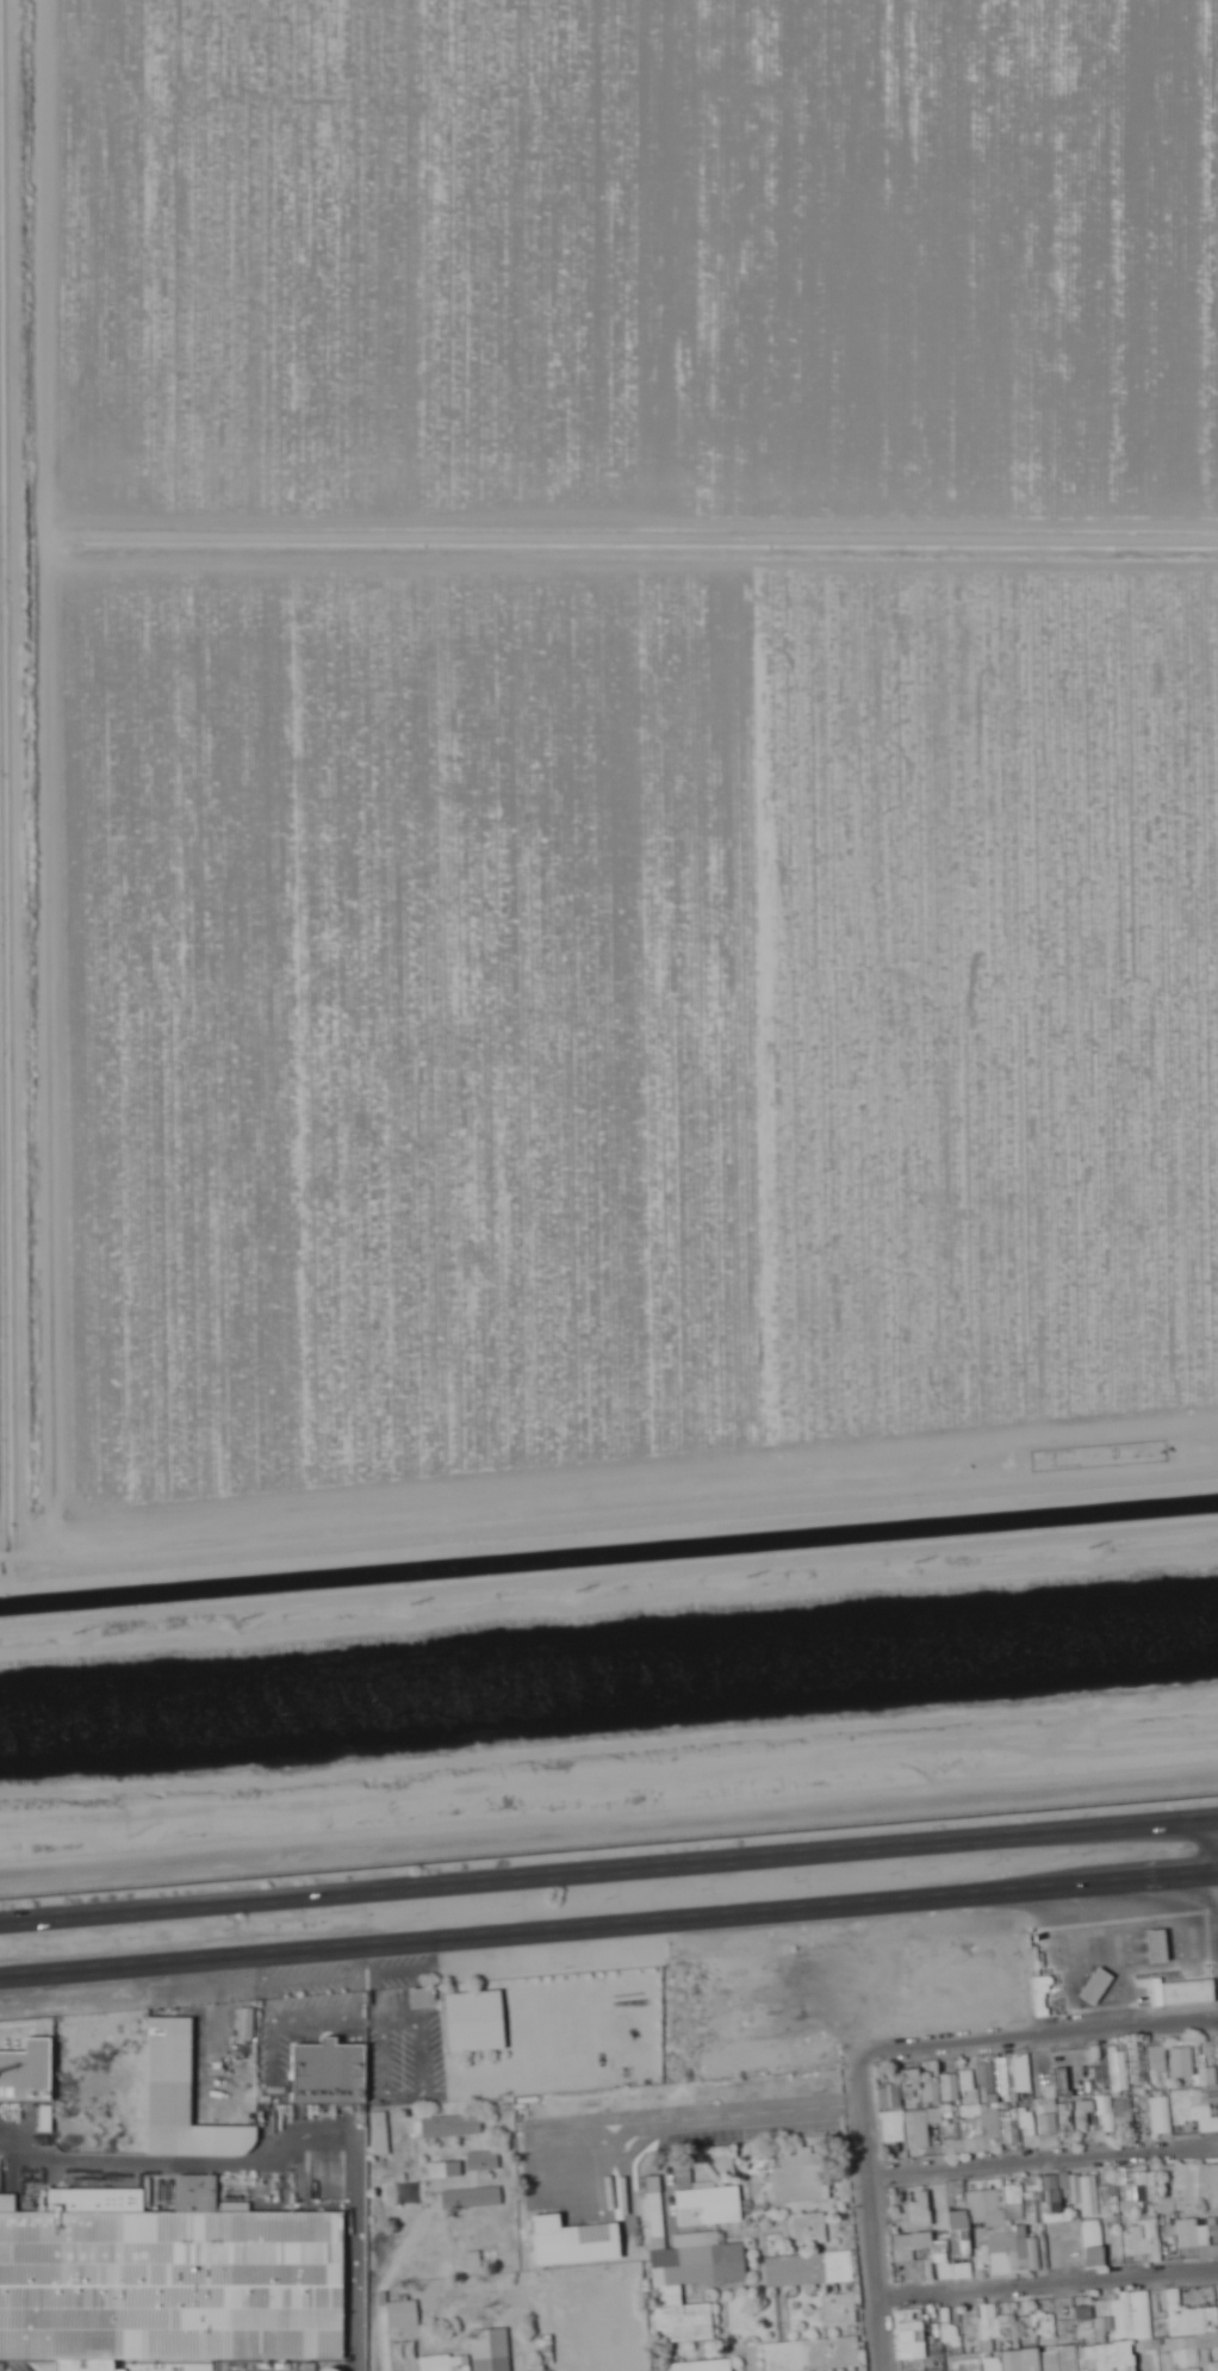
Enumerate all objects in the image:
road: (609, 1875)
road: (609, 1929)
building: (1155, 1943)
gas station: (1155, 1943)
road: (1042, 2038)
building: (1158, 2065)
building: (1182, 2065)
building: (26, 2071)
building: (1019, 2074)
building: (987, 2077)
building: (967, 2080)
building: (931, 2084)
building: (1197, 2098)
building: (1105, 2114)
building: (1162, 2114)
building: (907, 2128)
building: (990, 2128)
building: (1049, 2129)
road: (1043, 2155)
building: (484, 2160)
building: (1137, 2183)
building: (1082, 2191)
building: (472, 2197)
building: (704, 2201)
building: (1034, 2204)
building: (920, 2209)
building: (655, 2210)
building: (980, 2210)
road: (871, 2215)
building: (1198, 2232)
building: (573, 2241)
building: (1094, 2243)
building: (1023, 2254)
building: (942, 2260)
road: (1048, 2277)
building: (168, 2279)
building: (691, 2282)
building: (1120, 2311)
building: (989, 2326)
road: (353, 2328)
building: (912, 2336)
building: (1030, 2341)
building: (491, 2350)
building: (1116, 2357)
building: (700, 2365)
building: (968, 2365)

